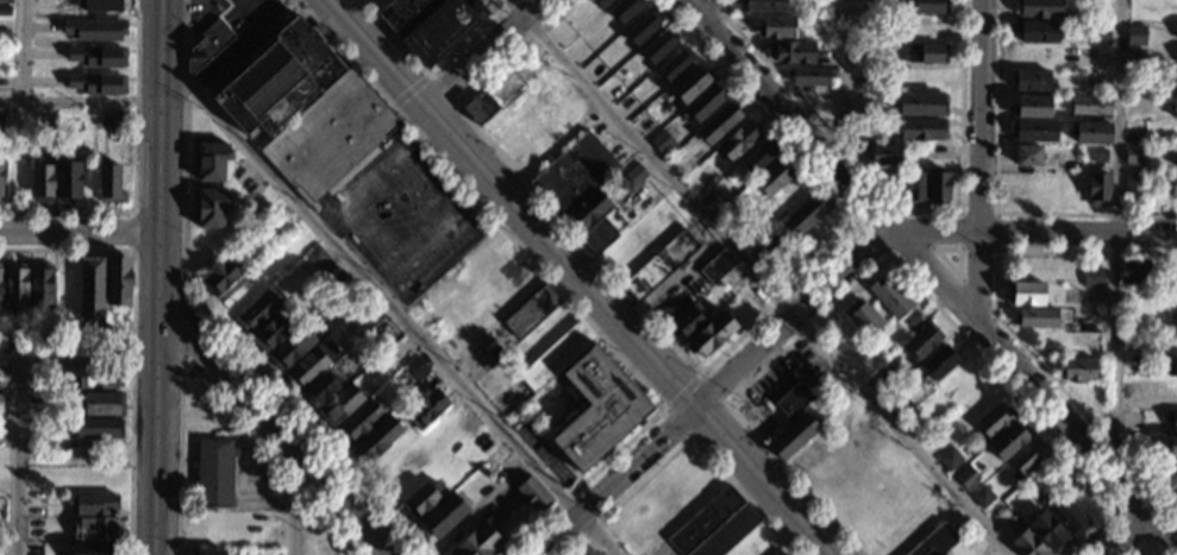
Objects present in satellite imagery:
building: (6, 2)
building: (601, 2)
building: (107, 6)
building: (762, 6)
building: (929, 6)
building: (624, 8)
building: (1040, 8)
building: (5, 11)
road: (716, 11)
building: (397, 12)
road: (707, 13)
road: (179, 17)
building: (640, 27)
building: (777, 29)
building: (442, 30)
building: (96, 31)
building: (1037, 31)
building: (1135, 33)
building: (1100, 36)
building: (206, 45)
building: (657, 46)
road: (480, 50)
road: (20, 51)
building: (793, 52)
building: (925, 53)
building: (99, 57)
building: (674, 64)
road: (158, 70)
road: (430, 70)
building: (812, 76)
building: (1031, 81)
building: (98, 84)
building: (689, 84)
building: (1176, 84)
road: (841, 88)
road: (440, 89)
road: (409, 90)
building: (859, 100)
road: (79, 102)
building: (481, 103)
building: (702, 105)
building: (922, 105)
building: (1090, 106)
building: (1031, 107)
building: (1173, 108)
building: (307, 111)
road: (433, 115)
building: (113, 118)
building: (36, 122)
building: (719, 122)
building: (922, 130)
building: (1033, 131)
building: (1090, 133)
road: (411, 140)
building: (738, 140)
building: (663, 144)
building: (884, 154)
building: (758, 156)
building: (1027, 156)
building: (1133, 156)
building: (1176, 158)
building: (1098, 159)
road: (979, 160)
building: (209, 162)
building: (1066, 166)
building: (1, 172)
road: (133, 172)
building: (572, 175)
building: (636, 175)
building: (774, 176)
building: (67, 179)
building: (109, 182)
building: (42, 183)
building: (1173, 185)
road: (157, 187)
building: (1133, 187)
building: (914, 188)
building: (937, 188)
building: (1097, 189)
road: (996, 196)
road: (345, 203)
building: (209, 207)
road: (472, 208)
road: (896, 208)
building: (589, 209)
road: (157, 212)
building: (806, 215)
parking lot: (403, 216)
building: (602, 231)
road: (133, 233)
road: (1032, 233)
road: (79, 234)
road: (1117, 238)
building: (765, 248)
road: (958, 248)
road: (896, 251)
building: (315, 256)
road: (883, 257)
park: (951, 259)
road: (947, 263)
building: (658, 266)
building: (716, 266)
road: (156, 267)
road: (928, 272)
building: (1134, 272)
building: (220, 277)
building: (1093, 277)
road: (758, 280)
building: (0, 282)
building: (118, 282)
building: (15, 284)
road: (553, 285)
building: (40, 286)
building: (92, 292)
building: (1025, 294)
building: (1172, 296)
building: (889, 297)
road: (387, 305)
road: (988, 309)
building: (531, 311)
building: (257, 313)
road: (207, 314)
building: (363, 315)
building: (863, 317)
building: (1037, 317)
building: (1176, 319)
building: (688, 321)
building: (914, 322)
road: (1001, 324)
road: (181, 328)
building: (270, 333)
building: (710, 334)
road: (134, 336)
building: (921, 341)
building: (401, 347)
building: (290, 349)
building: (555, 357)
road: (76, 361)
building: (938, 364)
building: (311, 366)
building: (415, 368)
building: (1175, 368)
road: (155, 370)
building: (1077, 370)
road: (700, 371)
building: (98, 377)
road: (208, 389)
building: (320, 390)
road: (681, 391)
road: (712, 395)
road: (683, 397)
building: (794, 399)
building: (101, 403)
building: (1, 404)
building: (340, 405)
building: (599, 406)
building: (426, 409)
building: (903, 409)
road: (708, 418)
building: (1170, 418)
building: (359, 421)
building: (993, 422)
road: (277, 423)
building: (35, 428)
building: (98, 429)
building: (793, 436)
building: (376, 440)
building: (1008, 441)
road: (684, 442)
building: (1137, 443)
building: (1172, 446)
road: (14, 458)
building: (949, 459)
building: (1027, 459)
building: (495, 460)
building: (214, 473)
building: (966, 478)
building: (1176, 479)
building: (533, 494)
building: (982, 497)
road: (154, 498)
building: (421, 499)
road: (299, 500)
building: (92, 504)
road: (1121, 513)
building: (442, 516)
building: (1000, 516)
building: (1069, 518)
building: (714, 526)
building: (95, 529)
building: (1047, 531)
road: (1137, 538)
building: (478, 541)
building: (934, 541)
building: (1027, 543)
building: (94, 548)
road: (1141, 549)
road: (1153, 549)
building: (584, 551)
building: (207, 553)
building: (789, 554)
building: (941, 554)

